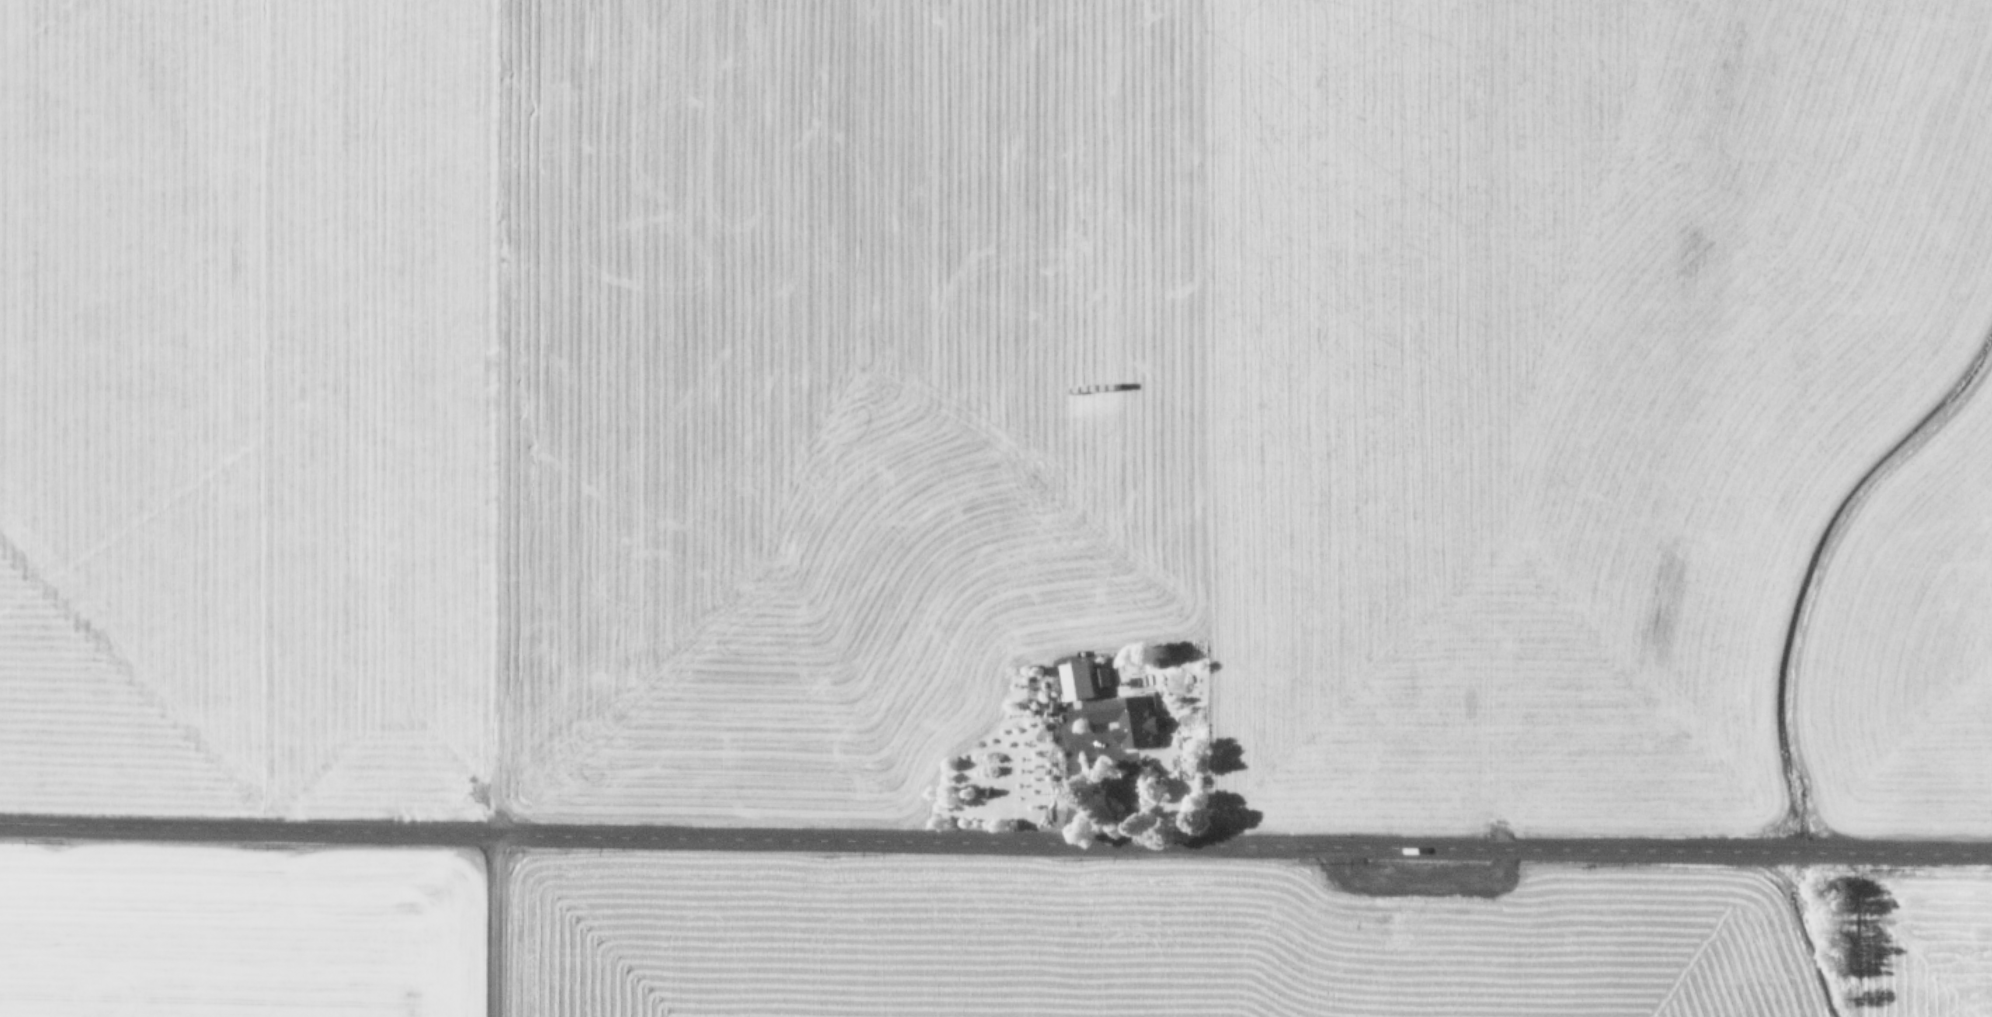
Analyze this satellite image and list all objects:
crop: (996, 508)
road: (996, 832)
road: (1323, 926)

